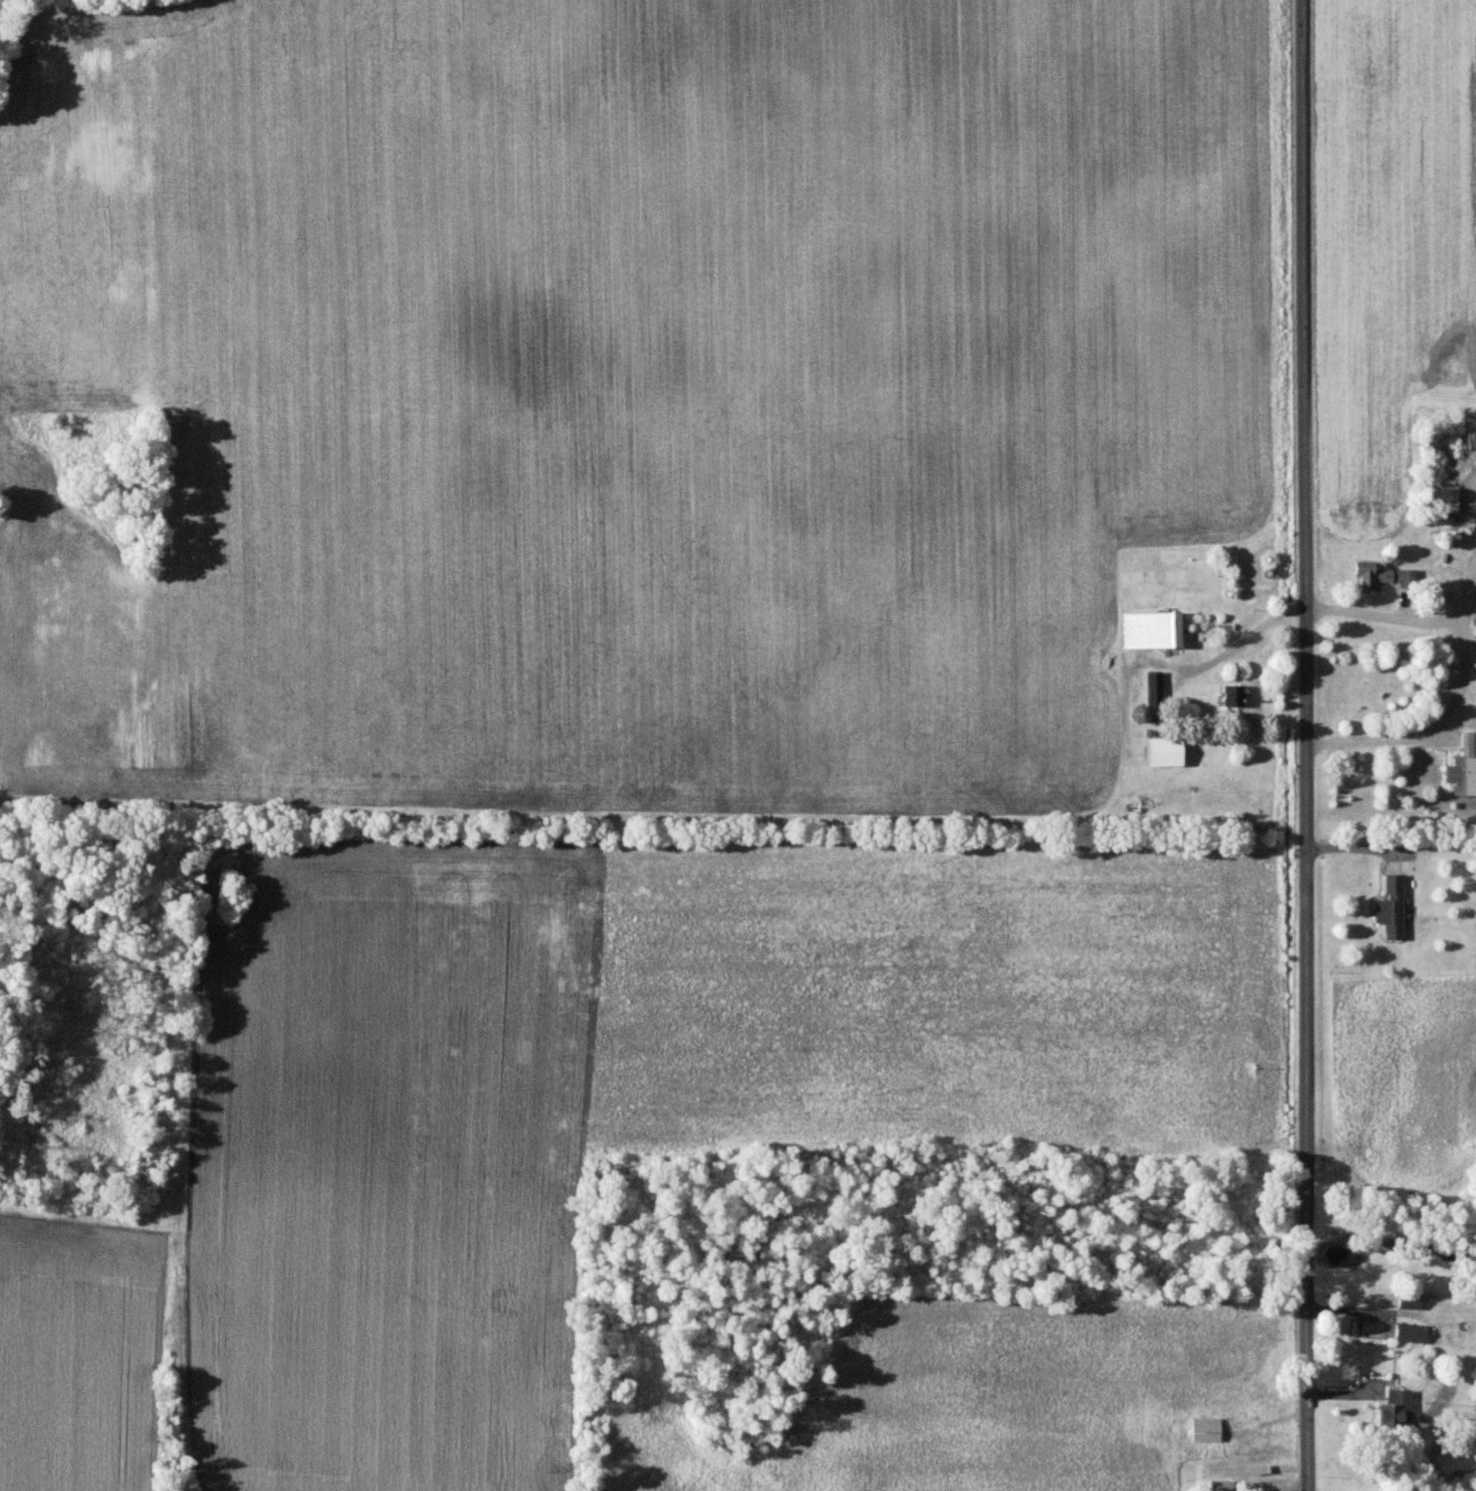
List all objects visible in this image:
road: (1474, 488)
building: (1449, 499)
building: (1380, 576)
road: (1474, 581)
road: (1474, 589)
road: (1463, 607)
building: (1151, 631)
road: (1242, 642)
road: (1464, 671)
building: (1153, 688)
building: (1232, 696)
road: (1305, 745)
building: (1163, 753)
building: (1463, 768)
building: (1391, 907)
building: (1408, 1302)
building: (1409, 1333)
building: (1394, 1407)
building: (1204, 1429)
building: (1219, 1486)

